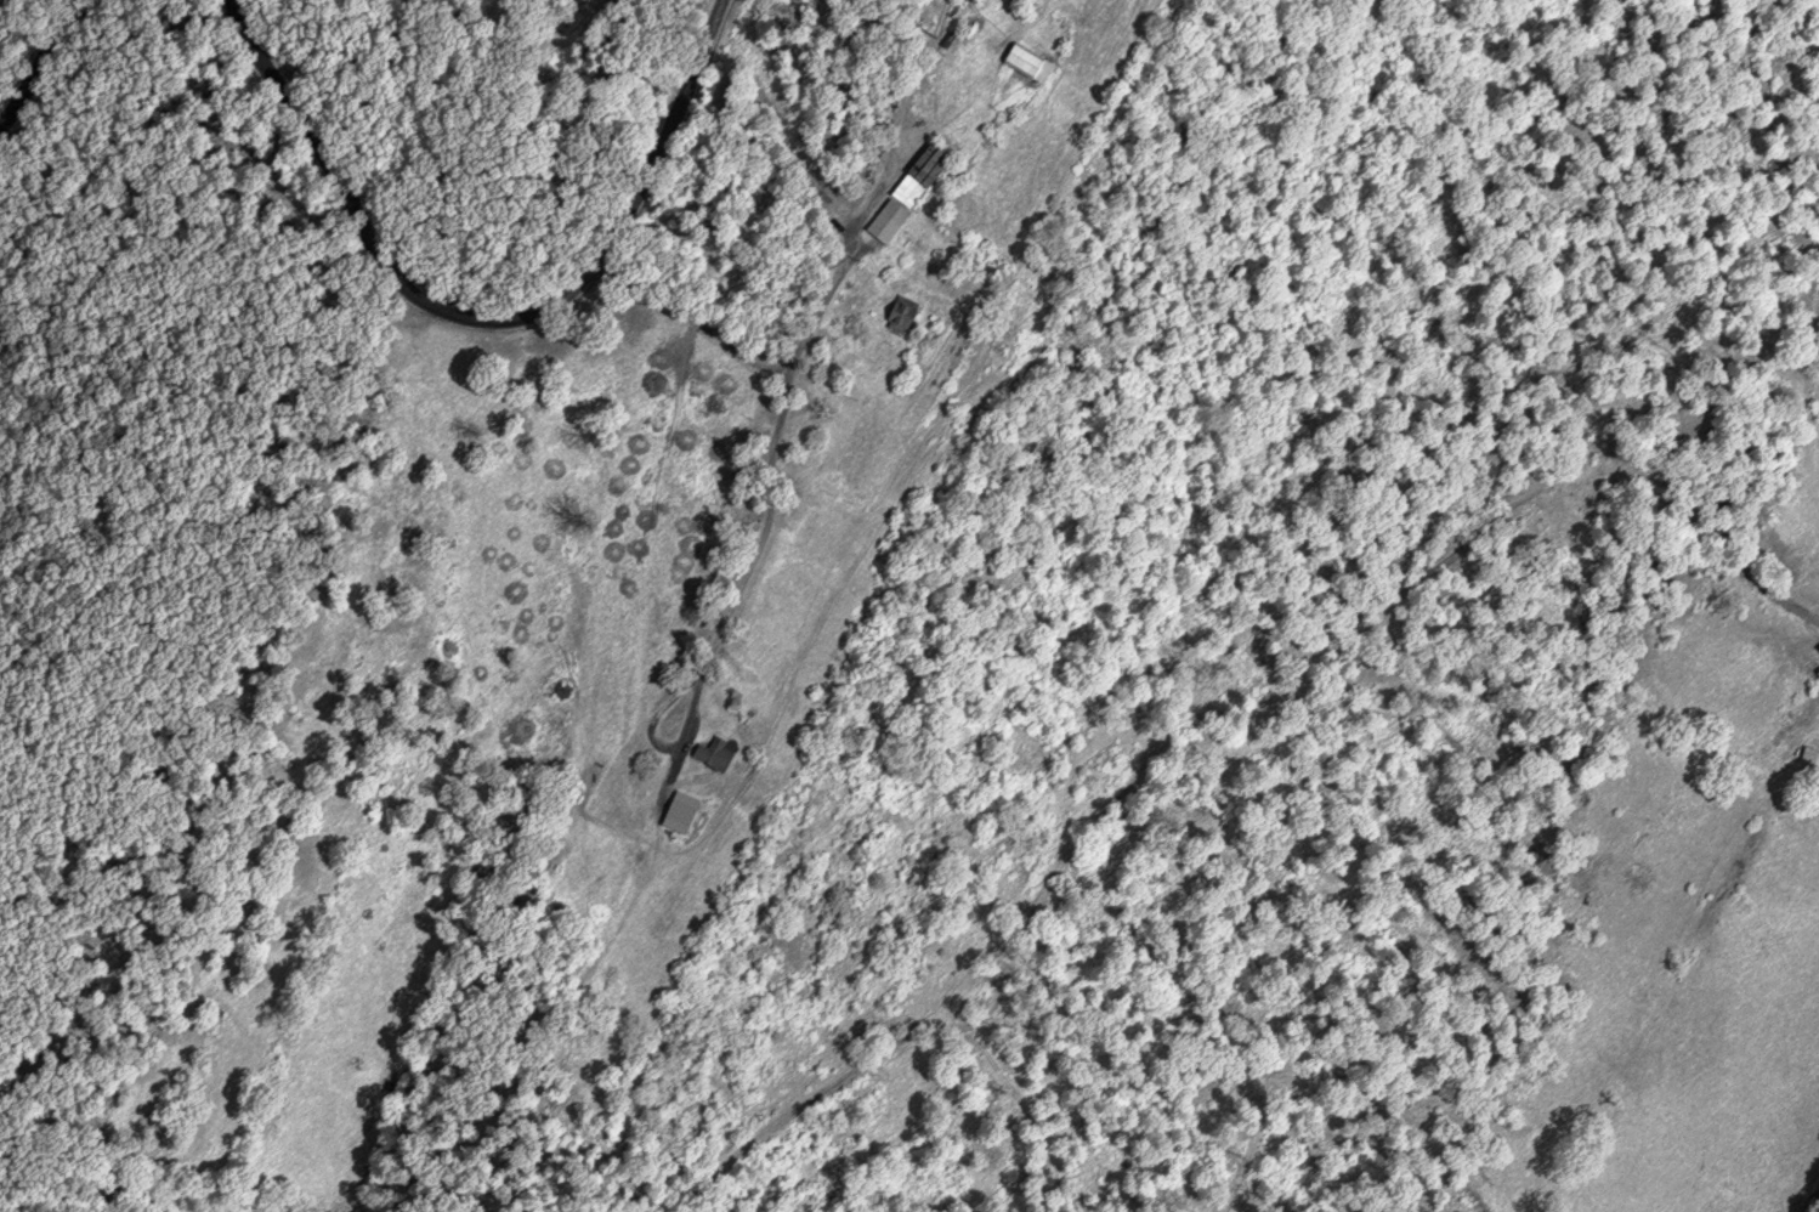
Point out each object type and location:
building: (1026, 62)
road: (39, 64)
road: (436, 157)
building: (907, 192)
road: (845, 261)
building: (899, 318)
road: (484, 319)
road: (770, 485)
building: (713, 753)

